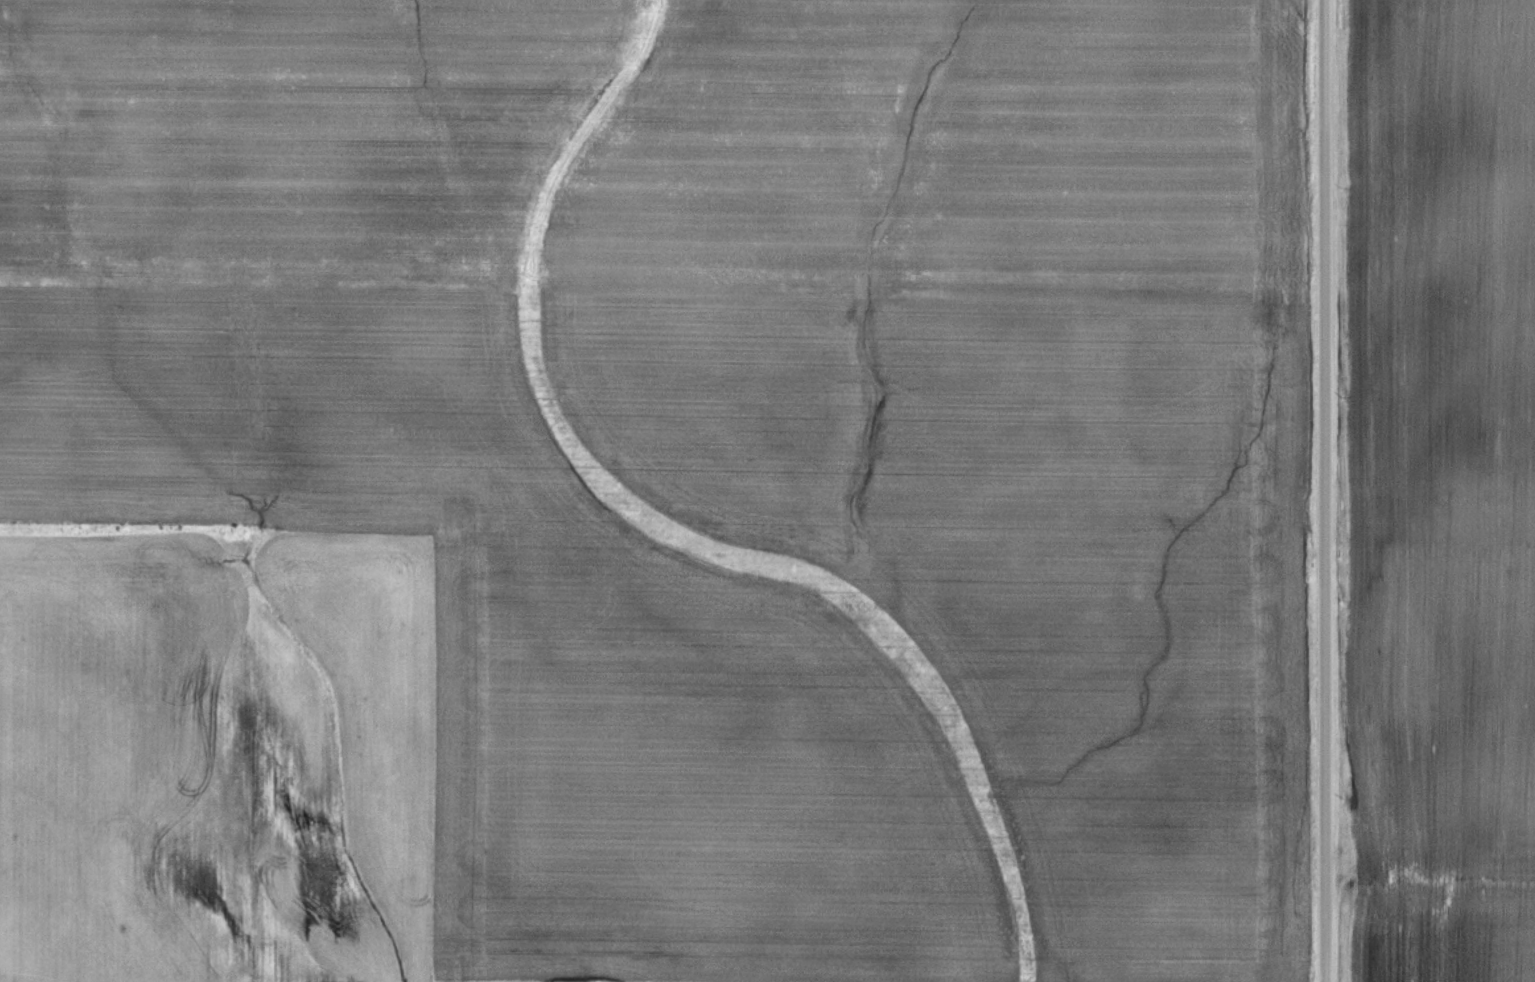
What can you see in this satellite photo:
road: (1322, 491)

